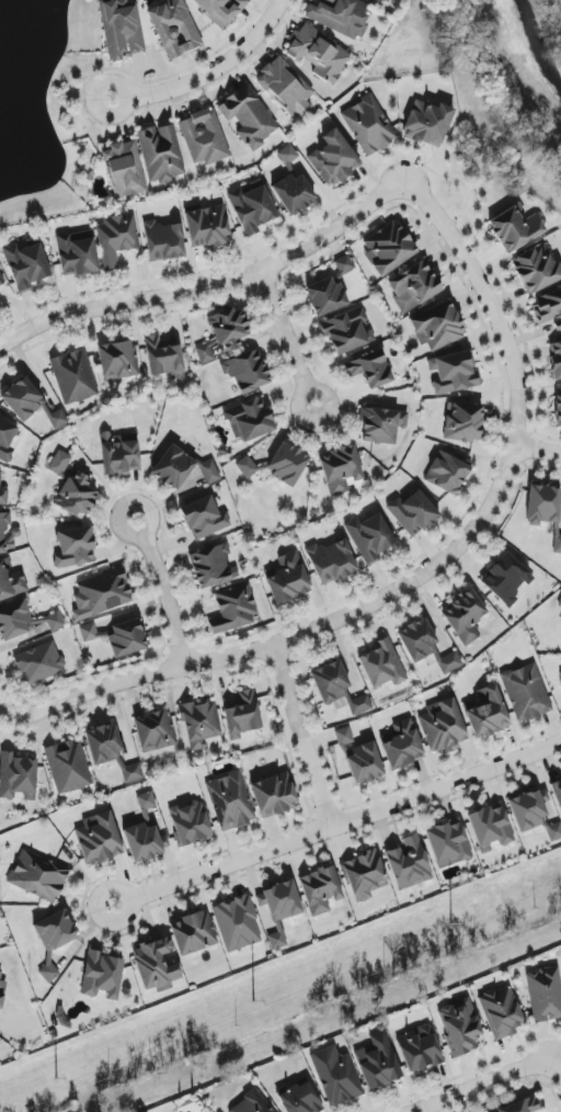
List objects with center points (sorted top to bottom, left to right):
building: (385, 0)
building: (220, 10)
building: (340, 15)
building: (174, 27)
building: (122, 30)
building: (318, 53)
road: (217, 67)
building: (286, 88)
road: (125, 109)
building: (248, 117)
building: (428, 123)
building: (368, 125)
building: (204, 137)
building: (161, 154)
building: (287, 155)
building: (333, 158)
building: (124, 170)
building: (294, 193)
building: (251, 207)
building: (207, 227)
building: (515, 228)
building: (116, 238)
building: (163, 240)
building: (389, 247)
building: (77, 253)
building: (26, 265)
building: (537, 270)
building: (1, 282)
road: (210, 283)
building: (413, 286)
building: (324, 296)
building: (549, 308)
building: (437, 327)
building: (229, 329)
building: (347, 331)
road: (288, 339)
building: (208, 351)
building: (164, 359)
building: (556, 359)
building: (118, 361)
building: (370, 370)
building: (247, 372)
building: (454, 373)
building: (75, 377)
building: (21, 400)
building: (558, 406)
building: (58, 419)
building: (250, 420)
building: (463, 422)
building: (382, 425)
building: (7, 440)
road: (538, 451)
building: (119, 454)
building: (60, 463)
building: (278, 465)
building: (182, 468)
building: (340, 469)
building: (447, 474)
building: (3, 493)
building: (77, 496)
building: (545, 510)
building: (413, 512)
building: (204, 519)
building: (5, 534)
building: (369, 537)
building: (75, 547)
building: (332, 561)
building: (213, 567)
road: (431, 571)
building: (288, 579)
building: (505, 579)
building: (11, 582)
road: (161, 590)
building: (102, 594)
building: (560, 604)
building: (233, 610)
building: (465, 616)
building: (24, 621)
building: (88, 633)
building: (127, 639)
building: (417, 639)
building: (39, 663)
building: (450, 663)
building: (382, 665)
building: (560, 672)
building: (330, 683)
building: (526, 693)
road: (5, 713)
building: (488, 713)
building: (242, 715)
building: (201, 724)
building: (443, 726)
building: (154, 731)
building: (344, 736)
road: (301, 737)
building: (103, 745)
building: (402, 746)
building: (364, 763)
building: (68, 767)
building: (133, 773)
building: (18, 778)
building: (557, 792)
building: (274, 795)
building: (146, 801)
building: (230, 801)
building: (529, 809)
building: (190, 824)
road: (336, 825)
building: (491, 828)
building: (553, 831)
building: (99, 839)
building: (145, 842)
building: (449, 844)
building: (409, 863)
building: (364, 875)
building: (37, 877)
building: (320, 890)
building: (282, 901)
building: (237, 923)
power tower: (450, 928)
building: (193, 933)
building: (276, 940)
building: (156, 963)
building: (49, 973)
building: (103, 976)
building: (2, 990)
building: (545, 994)
power tower: (254, 1002)
building: (501, 1012)
building: (460, 1026)
building: (419, 1049)
building: (378, 1062)
road: (558, 1063)
building: (336, 1076)
power tower: (56, 1080)
road: (480, 1083)
building: (300, 1099)
building: (252, 1103)
building: (520, 1107)

